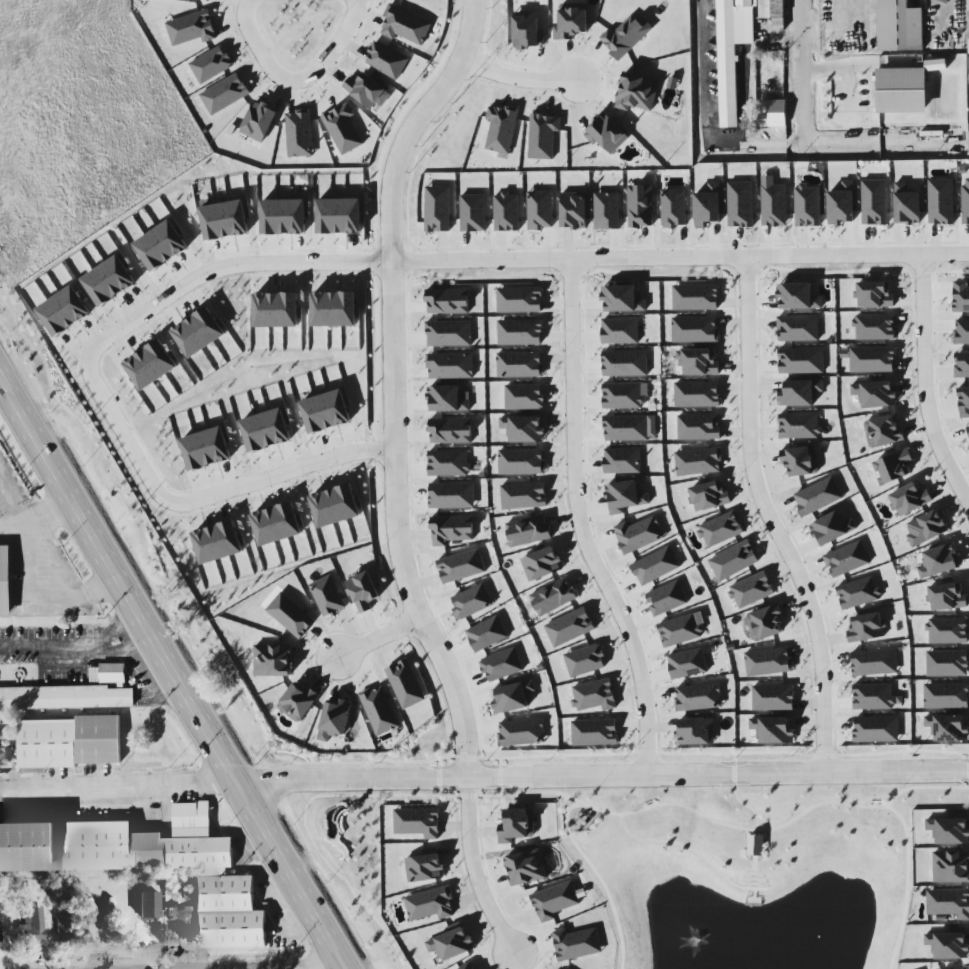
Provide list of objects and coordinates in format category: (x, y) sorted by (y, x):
building: (209, 0)
building: (743, 4)
building: (772, 9)
building: (968, 18)
building: (571, 23)
building: (405, 25)
building: (898, 26)
building: (192, 28)
building: (528, 30)
building: (626, 36)
building: (387, 60)
building: (726, 64)
building: (936, 64)
building: (211, 65)
road: (803, 71)
road: (703, 72)
road: (521, 81)
road: (294, 85)
building: (367, 90)
building: (898, 91)
building: (637, 92)
building: (225, 94)
building: (773, 113)
building: (260, 121)
building: (501, 128)
building: (343, 129)
building: (299, 133)
building: (606, 134)
building: (543, 136)
road: (805, 142)
building: (968, 143)
building: (965, 200)
building: (941, 201)
building: (874, 202)
building: (740, 204)
building: (841, 204)
building: (774, 205)
building: (906, 205)
building: (640, 206)
building: (707, 206)
building: (807, 206)
building: (674, 207)
building: (438, 209)
building: (540, 210)
building: (573, 210)
building: (607, 211)
building: (506, 212)
building: (473, 213)
building: (339, 216)
building: (284, 217)
building: (225, 220)
helipad: (641, 227)
building: (161, 246)
road: (682, 258)
building: (109, 281)
building: (874, 295)
building: (798, 296)
building: (961, 296)
building: (695, 297)
building: (622, 299)
building: (519, 300)
building: (448, 301)
building: (64, 311)
building: (875, 327)
building: (798, 328)
building: (695, 329)
building: (620, 331)
building: (520, 332)
building: (961, 332)
building: (449, 333)
building: (872, 359)
building: (801, 361)
building: (697, 362)
building: (625, 363)
building: (150, 364)
building: (520, 364)
building: (450, 365)
building: (961, 365)
road: (924, 386)
road: (100, 390)
building: (800, 393)
building: (874, 393)
building: (697, 394)
building: (623, 396)
building: (524, 397)
building: (447, 399)
building: (964, 401)
building: (326, 412)
building: (799, 426)
building: (699, 427)
building: (630, 428)
building: (523, 429)
building: (968, 429)
building: (451, 431)
building: (882, 431)
building: (622, 460)
building: (800, 460)
building: (699, 461)
building: (521, 462)
building: (448, 463)
building: (893, 467)
road: (397, 478)
building: (451, 495)
building: (523, 496)
building: (709, 496)
building: (817, 496)
building: (624, 497)
building: (909, 499)
road: (14, 501)
road: (769, 519)
road: (39, 521)
road: (581, 524)
building: (831, 528)
building: (925, 528)
building: (451, 529)
building: (720, 529)
building: (528, 531)
building: (638, 534)
building: (846, 559)
building: (733, 560)
building: (938, 561)
building: (541, 564)
building: (655, 565)
building: (461, 566)
building: (5, 581)
building: (751, 589)
building: (363, 590)
building: (858, 593)
road: (43, 596)
building: (328, 596)
building: (553, 596)
building: (946, 597)
building: (666, 598)
building: (471, 601)
building: (290, 615)
building: (765, 623)
building: (569, 627)
building: (866, 627)
building: (679, 630)
building: (948, 630)
building: (487, 633)
road: (380, 640)
road: (77, 649)
building: (272, 660)
building: (585, 660)
building: (768, 661)
building: (874, 662)
building: (947, 663)
building: (502, 664)
building: (687, 664)
road: (172, 672)
building: (112, 673)
road: (233, 682)
building: (405, 684)
building: (594, 695)
building: (873, 696)
building: (946, 696)
building: (65, 697)
building: (512, 697)
building: (698, 697)
building: (773, 697)
building: (298, 701)
building: (380, 710)
building: (334, 720)
building: (948, 727)
building: (876, 729)
building: (773, 730)
building: (696, 731)
building: (522, 732)
building: (595, 732)
building: (70, 742)
road: (439, 777)
road: (499, 777)
road: (601, 777)
road: (968, 780)
road: (923, 787)
road: (117, 788)
road: (743, 803)
road: (574, 805)
road: (588, 805)
building: (418, 822)
building: (516, 825)
building: (949, 830)
building: (756, 845)
road: (694, 851)
building: (150, 866)
building: (951, 866)
building: (526, 867)
building: (424, 868)
road: (598, 878)
building: (555, 901)
building: (948, 903)
building: (430, 904)
building: (148, 905)
building: (182, 919)
building: (32, 924)
building: (66, 928)
building: (0, 929)
building: (86, 929)
fountain: (697, 938)
building: (452, 944)
building: (576, 944)
building: (948, 945)
building: (467, 966)

